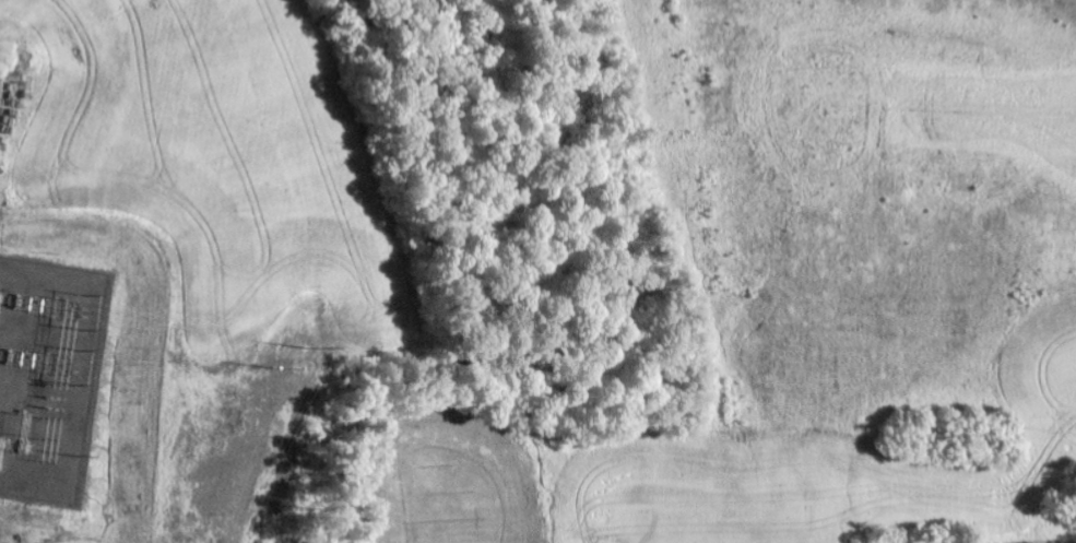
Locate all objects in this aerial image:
power substation: (48, 375)

